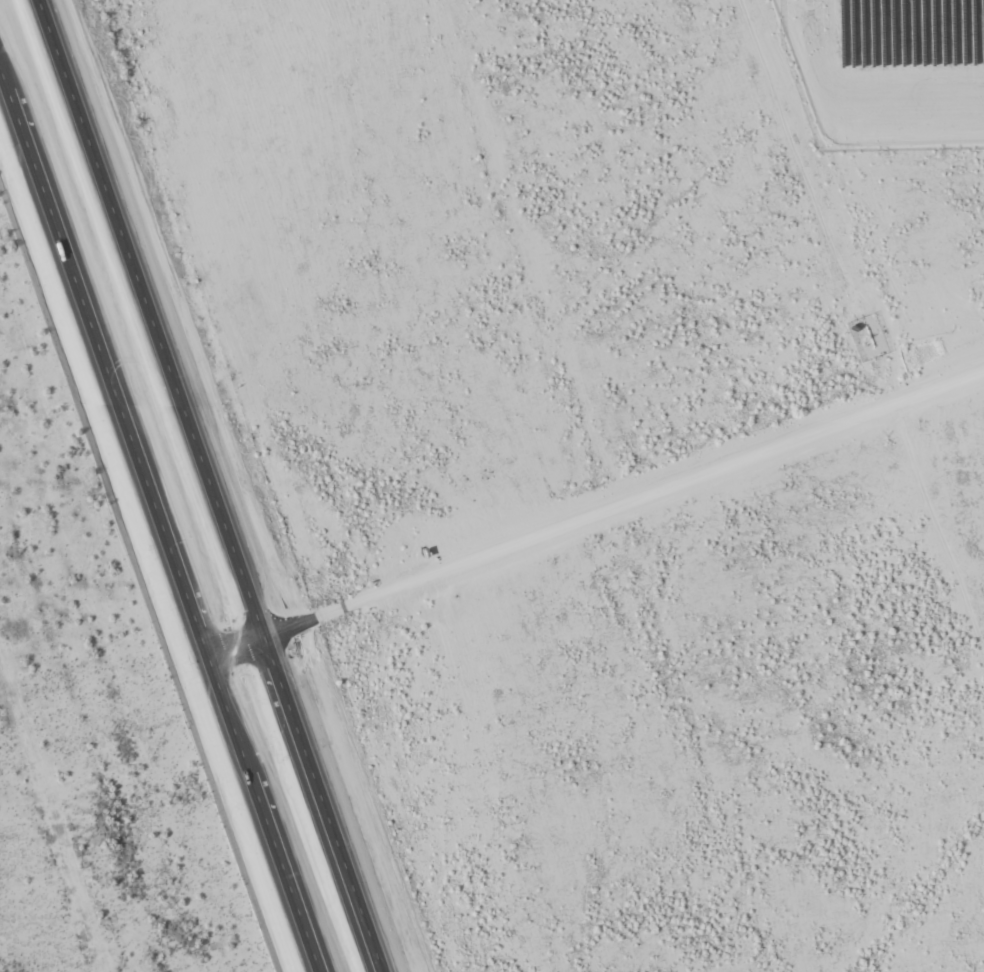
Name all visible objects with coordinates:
road: (213, 486)

